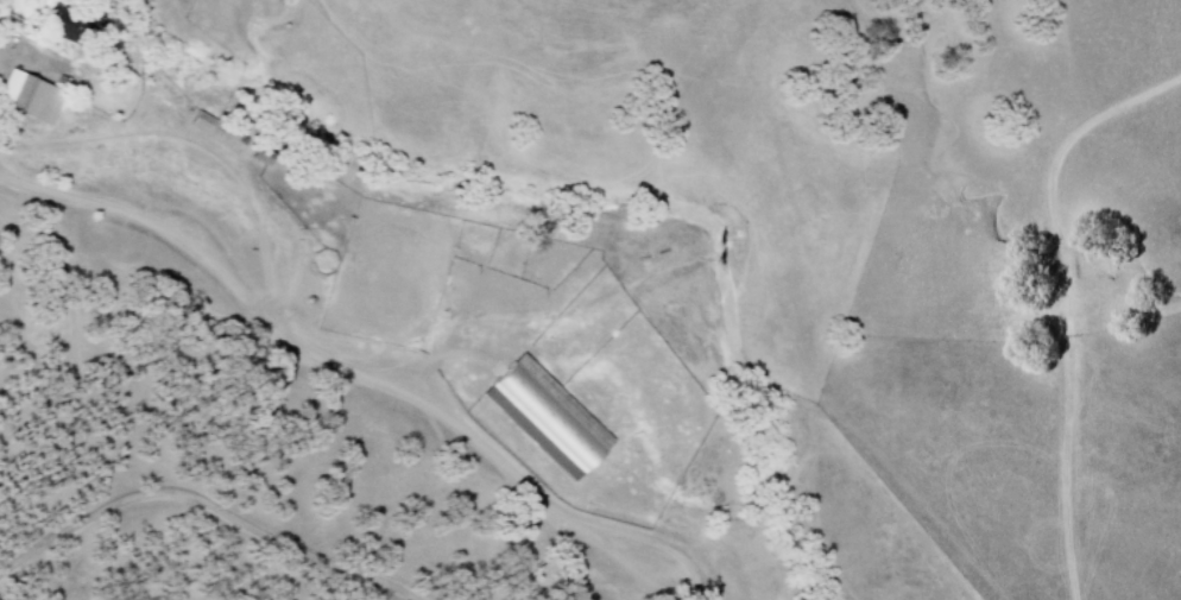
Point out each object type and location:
road: (1093, 63)
building: (32, 95)
building: (217, 132)
road: (201, 141)
road: (1066, 299)
road: (362, 373)
building: (543, 415)
road: (208, 503)

